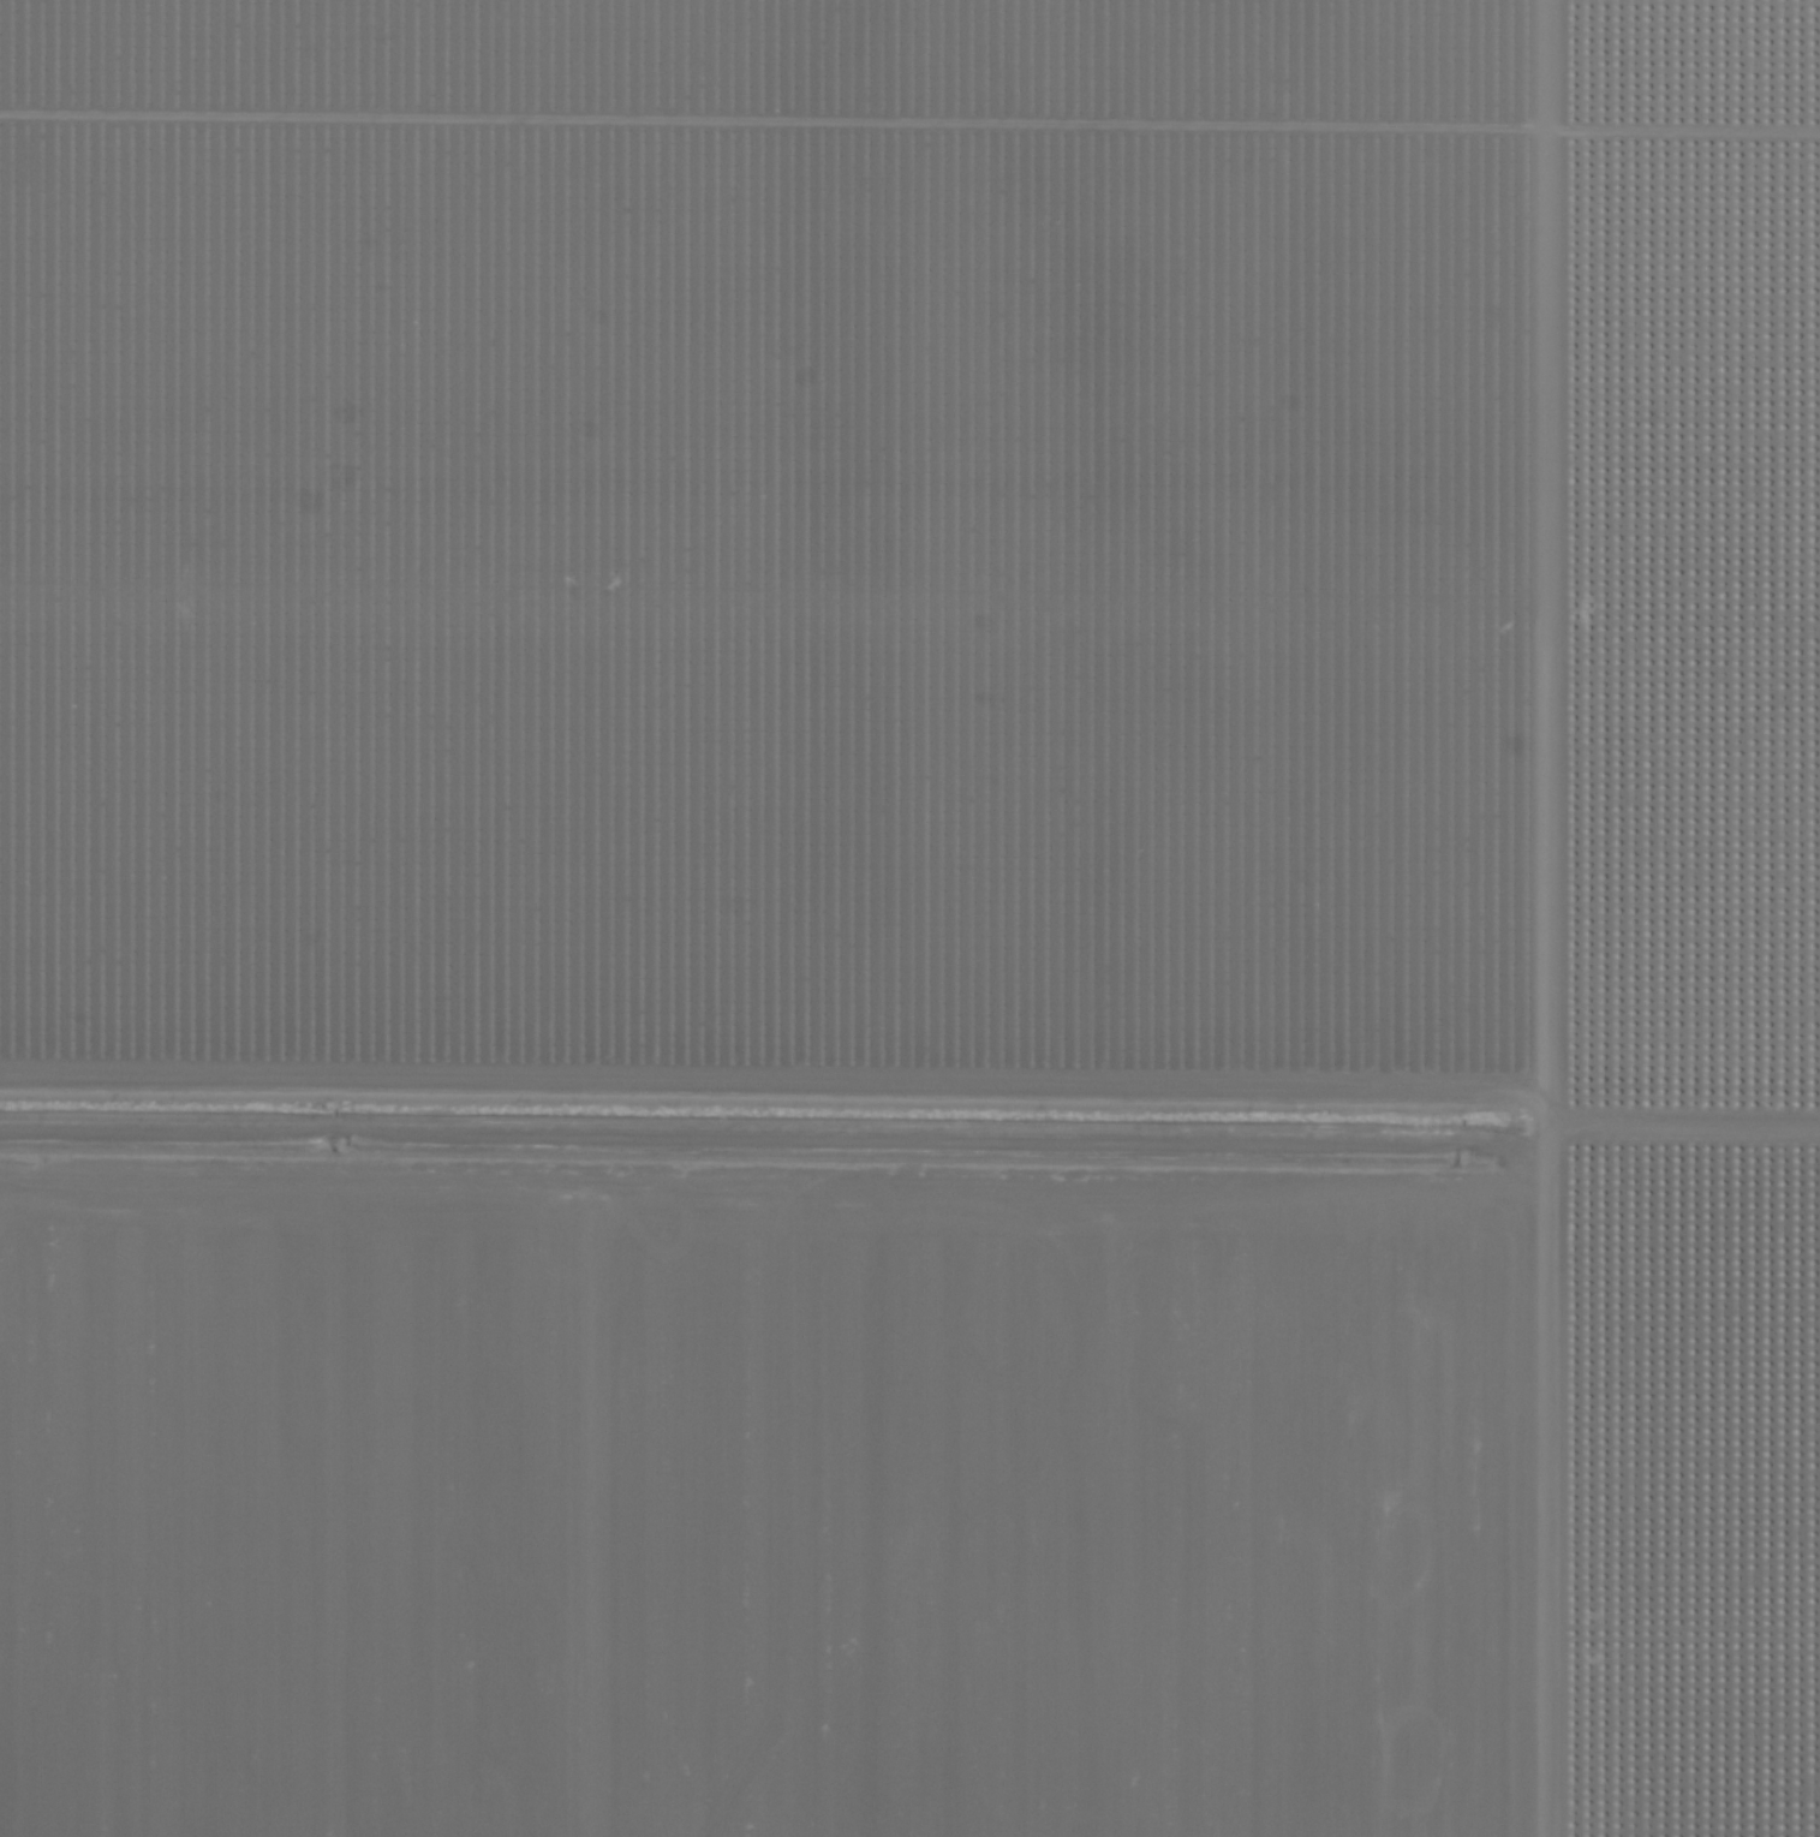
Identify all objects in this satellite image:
crop: (909, 918)
road: (1561, 918)

